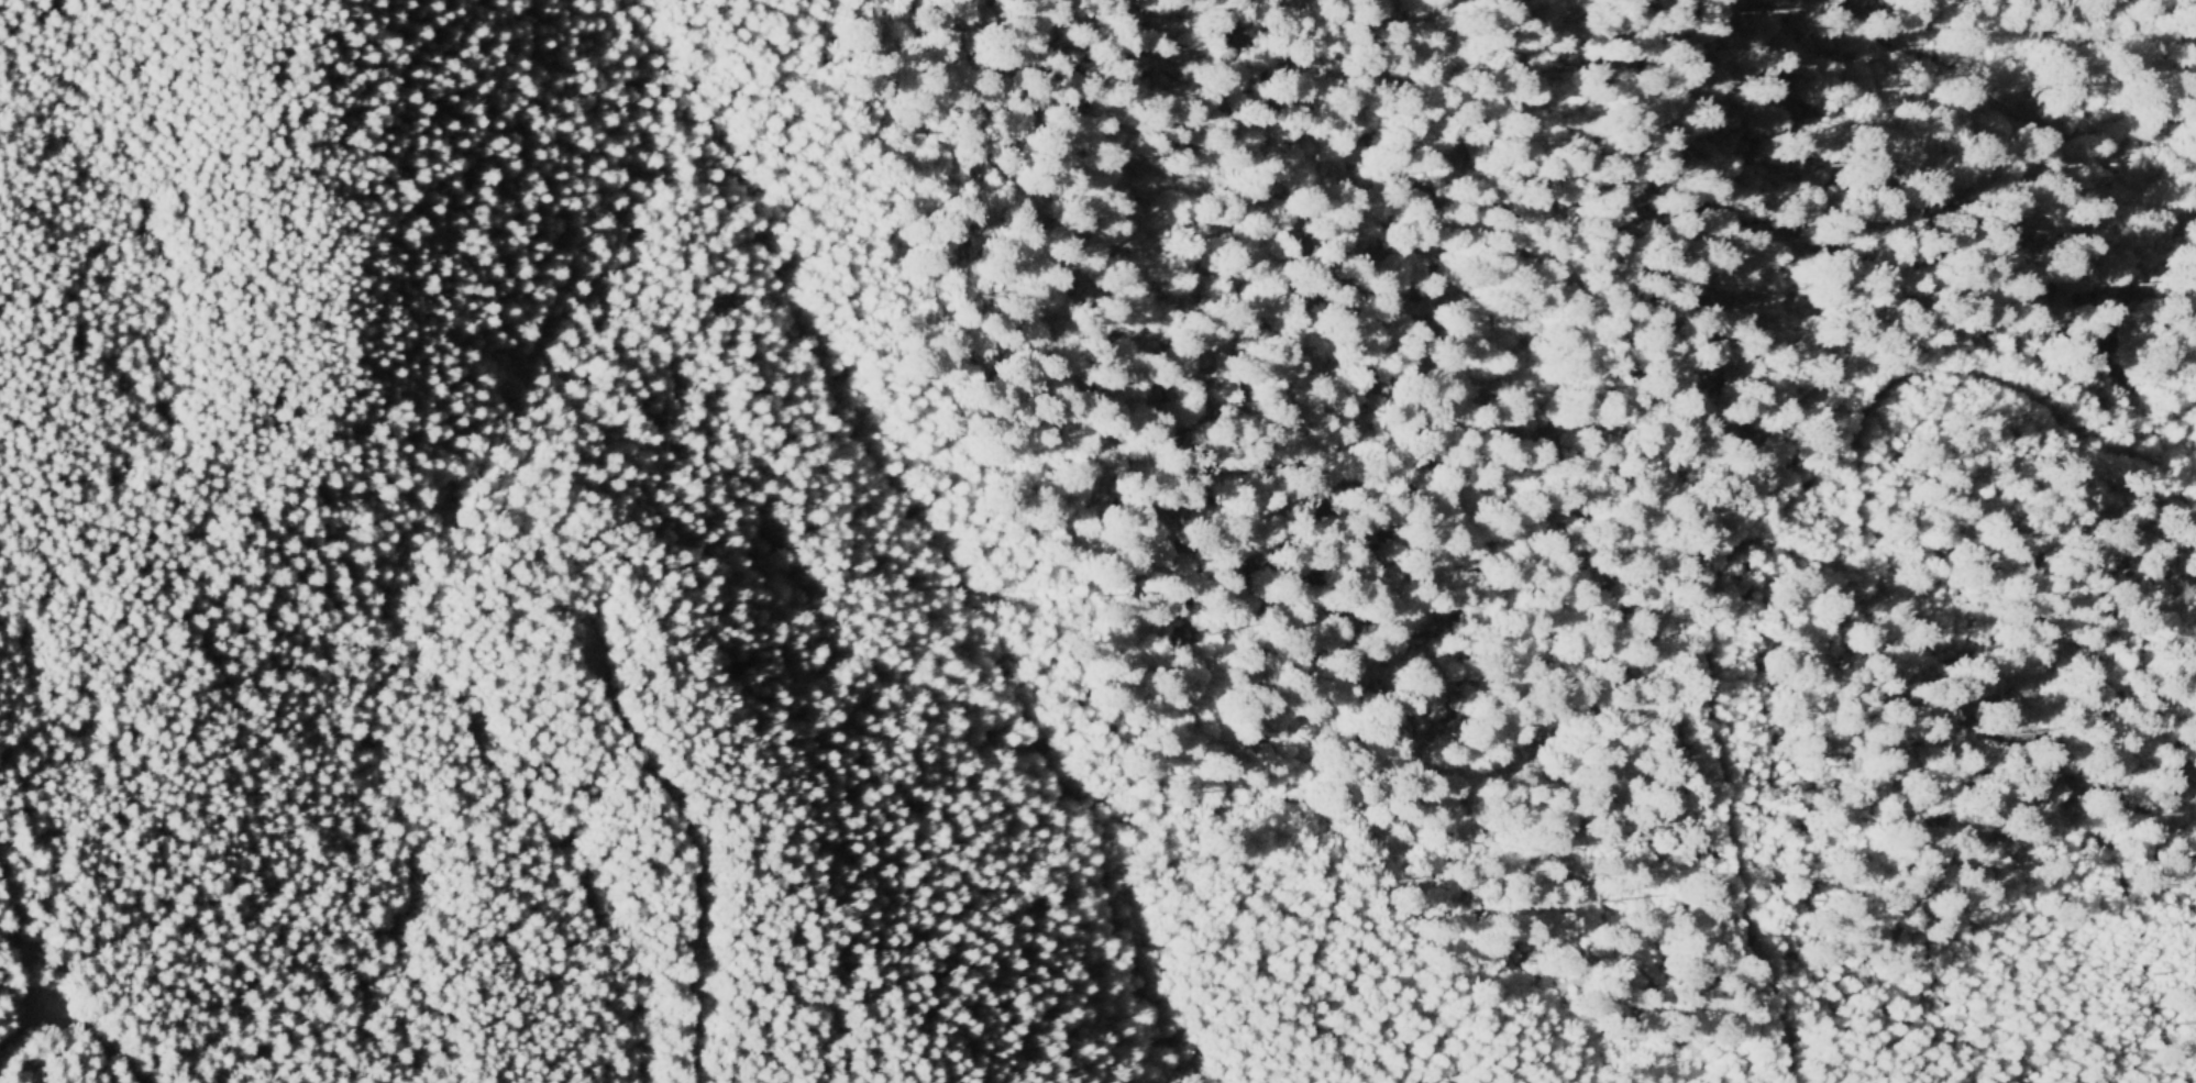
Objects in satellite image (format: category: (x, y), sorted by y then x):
road: (1777, 601)

